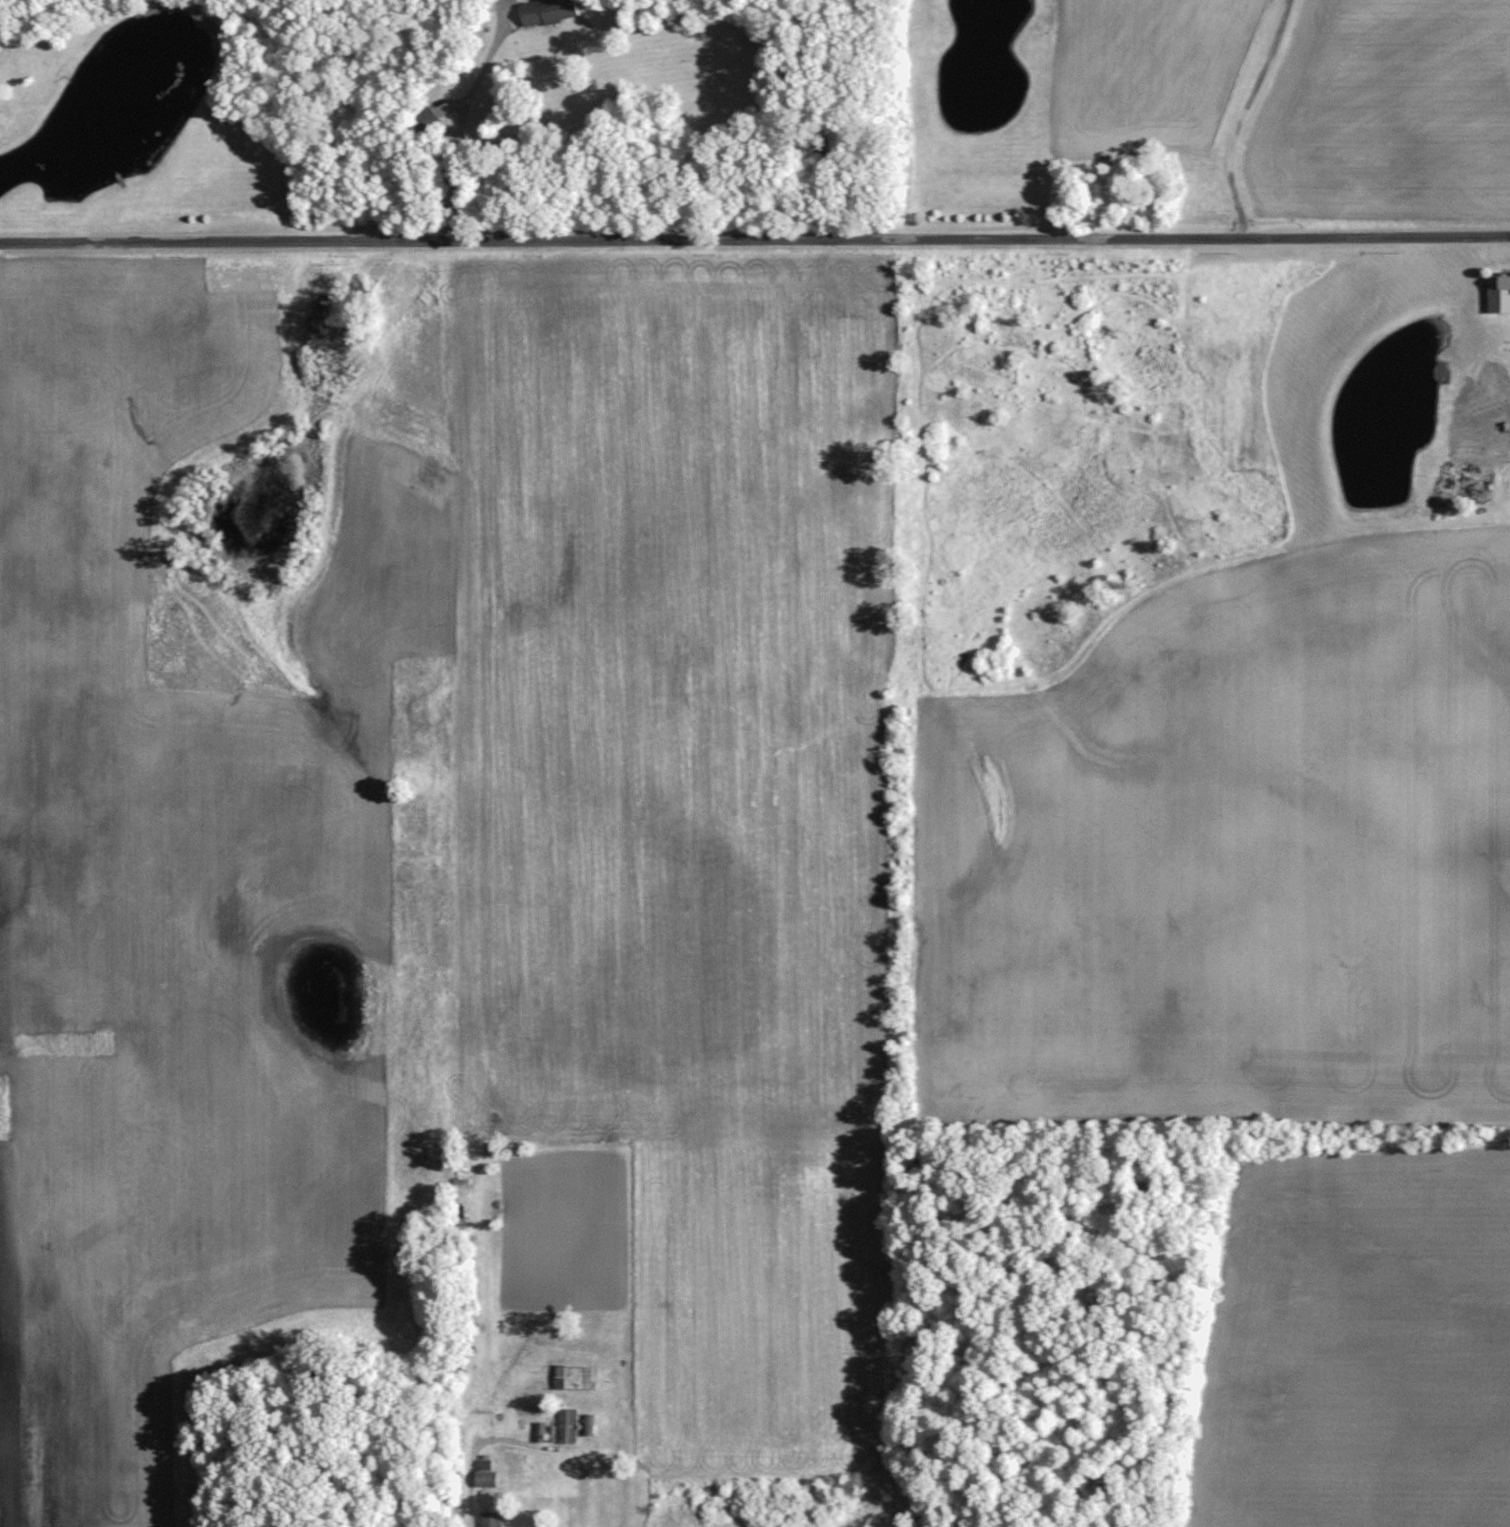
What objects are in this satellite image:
road: (754, 240)
crop: (683, 810)
crop: (193, 855)
crop: (1237, 855)
crop: (1355, 1335)
road: (474, 1447)

